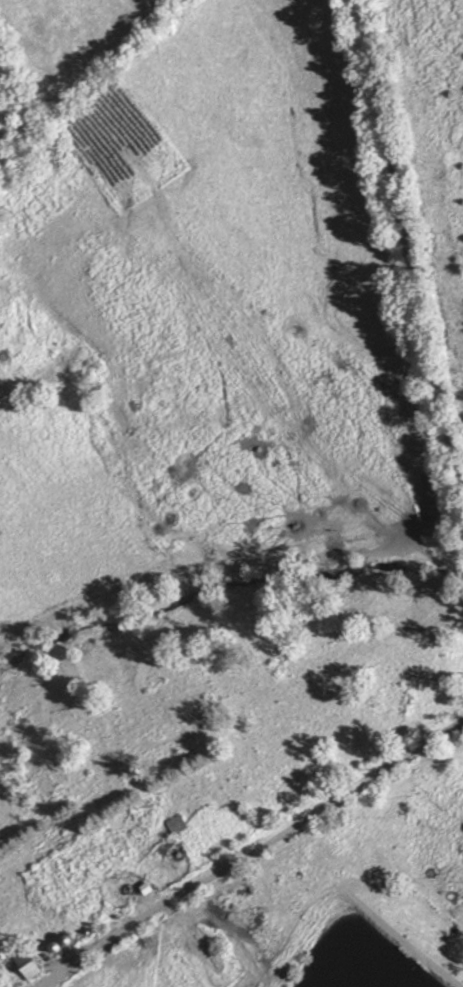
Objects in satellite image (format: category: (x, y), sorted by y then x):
road: (416, 250)
building: (179, 825)
road: (256, 859)
dam: (400, 933)
building: (33, 966)

